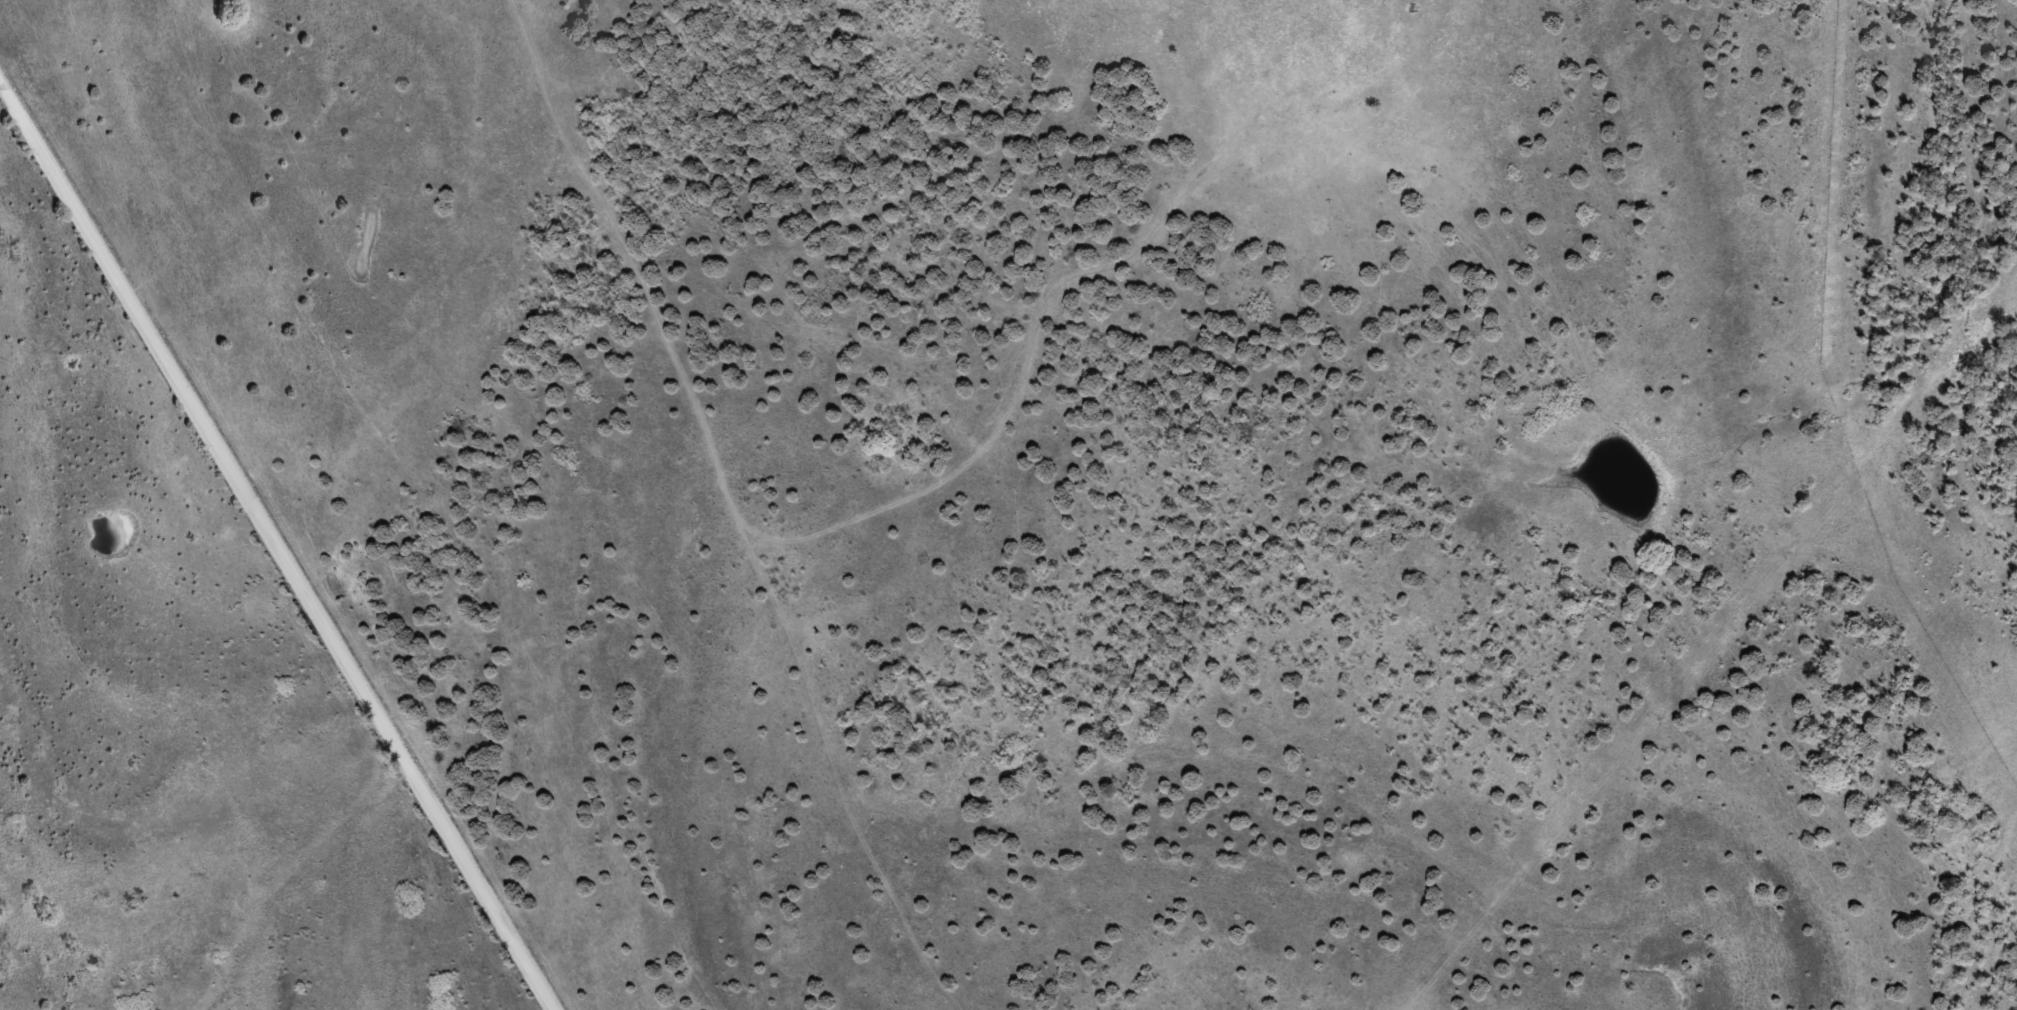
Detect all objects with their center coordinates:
road: (277, 543)

